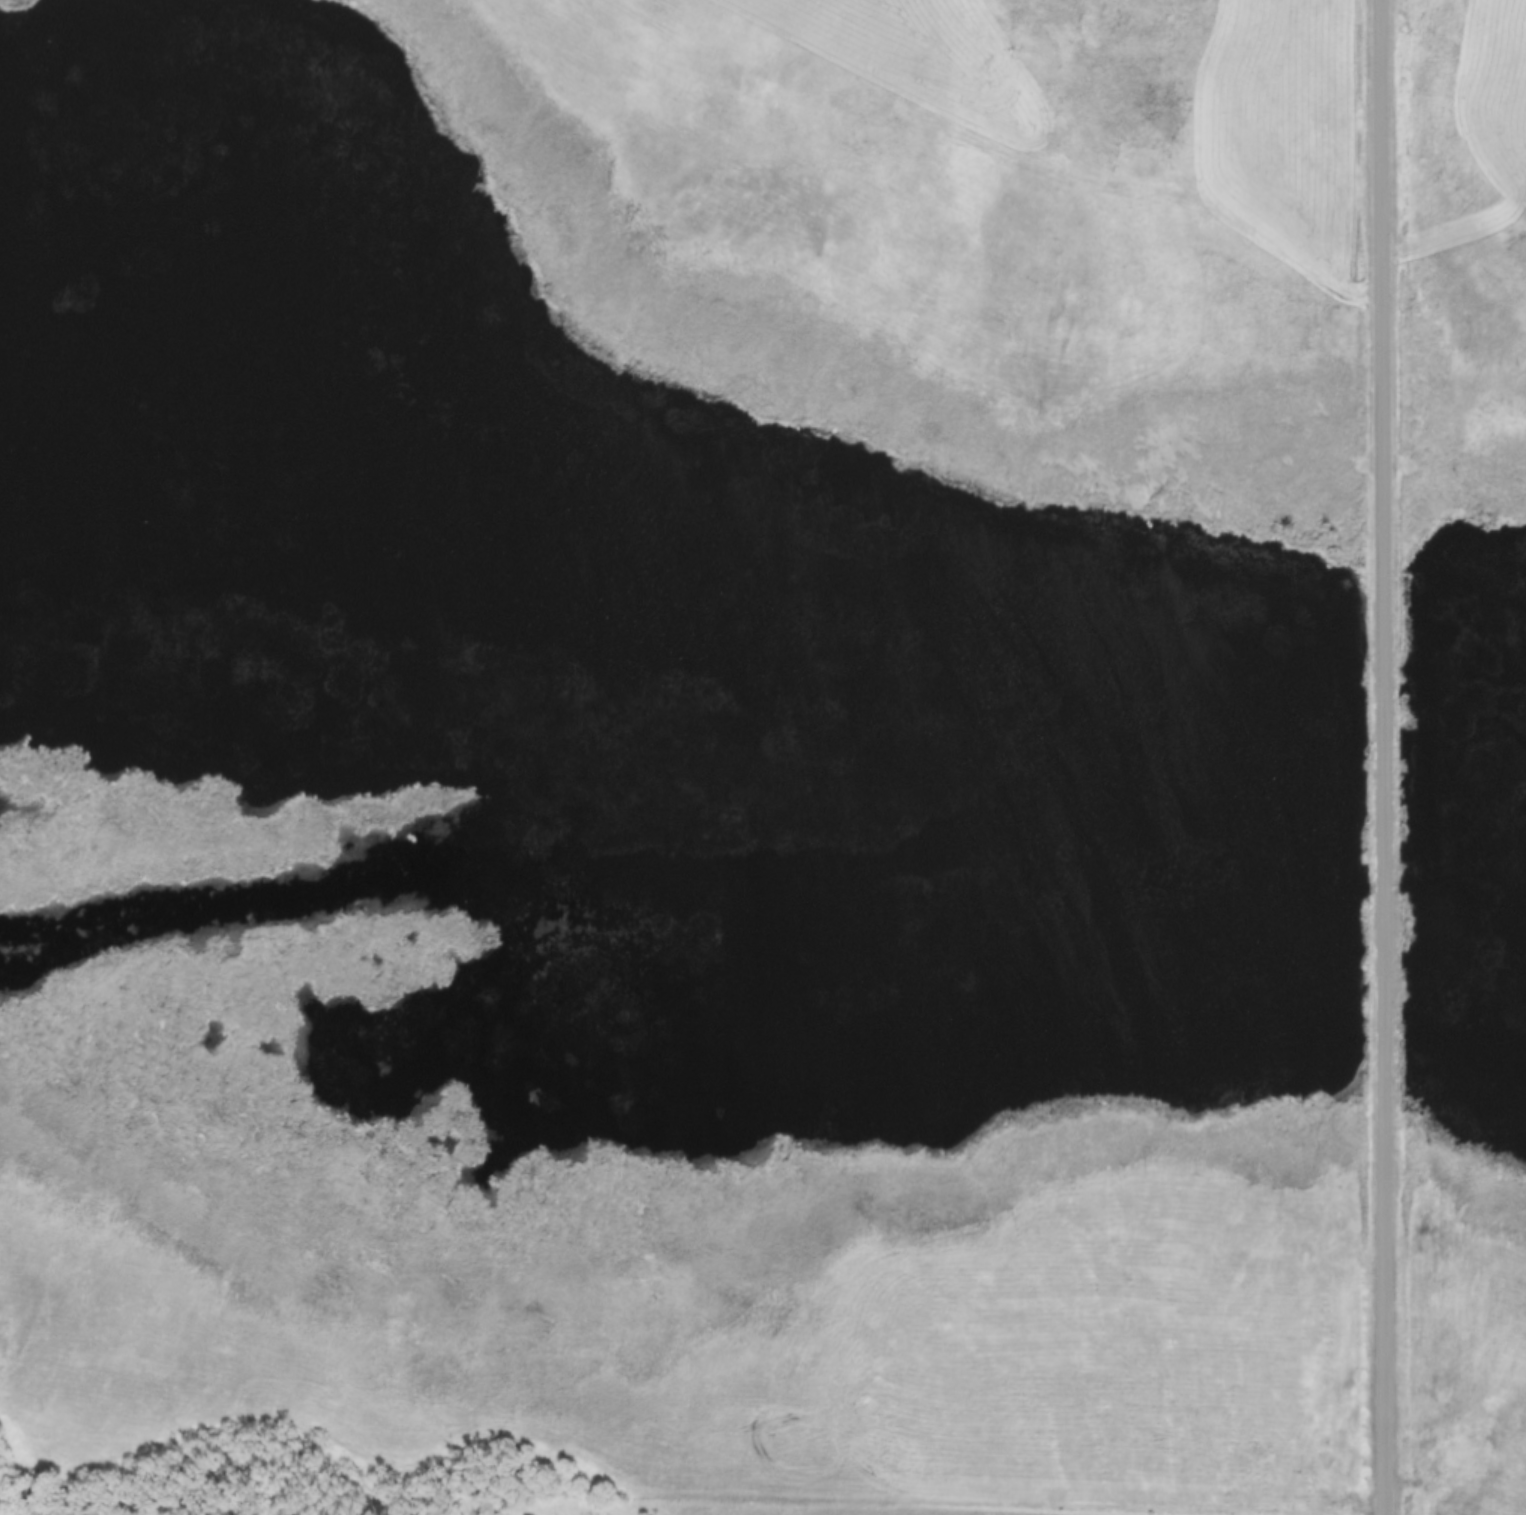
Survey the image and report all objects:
road: (1383, 757)

